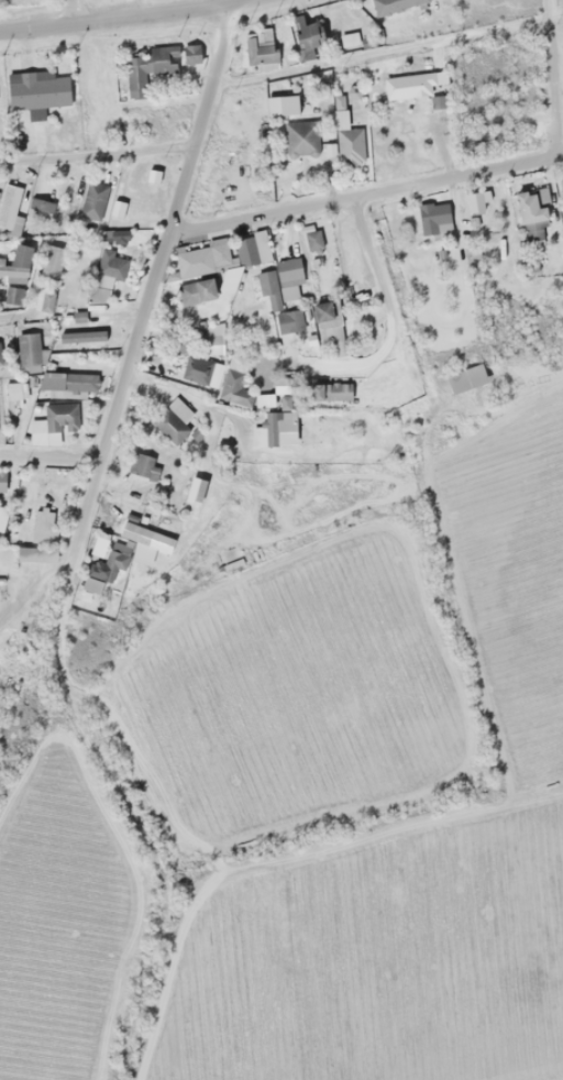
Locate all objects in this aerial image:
building: (393, 4)
road: (67, 12)
road: (121, 19)
building: (308, 35)
road: (219, 45)
road: (384, 49)
building: (260, 53)
building: (191, 54)
building: (147, 67)
road: (551, 77)
building: (36, 91)
building: (281, 106)
road: (199, 115)
building: (300, 139)
building: (350, 145)
road: (96, 154)
building: (562, 186)
road: (179, 190)
road: (364, 195)
building: (92, 200)
building: (9, 206)
building: (530, 216)
building: (432, 218)
building: (251, 250)
building: (198, 260)
building: (15, 262)
building: (51, 262)
building: (106, 277)
building: (279, 282)
building: (196, 290)
building: (12, 295)
building: (44, 302)
road: (1, 318)
road: (390, 323)
building: (328, 327)
building: (288, 329)
building: (27, 351)
building: (205, 362)
building: (235, 363)
building: (465, 377)
building: (67, 383)
building: (329, 392)
road: (115, 398)
building: (59, 417)
building: (169, 426)
building: (285, 427)
road: (48, 458)
building: (137, 464)
building: (1, 482)
building: (2, 517)
building: (135, 532)
building: (98, 547)
road: (139, 817)
road: (132, 1031)

